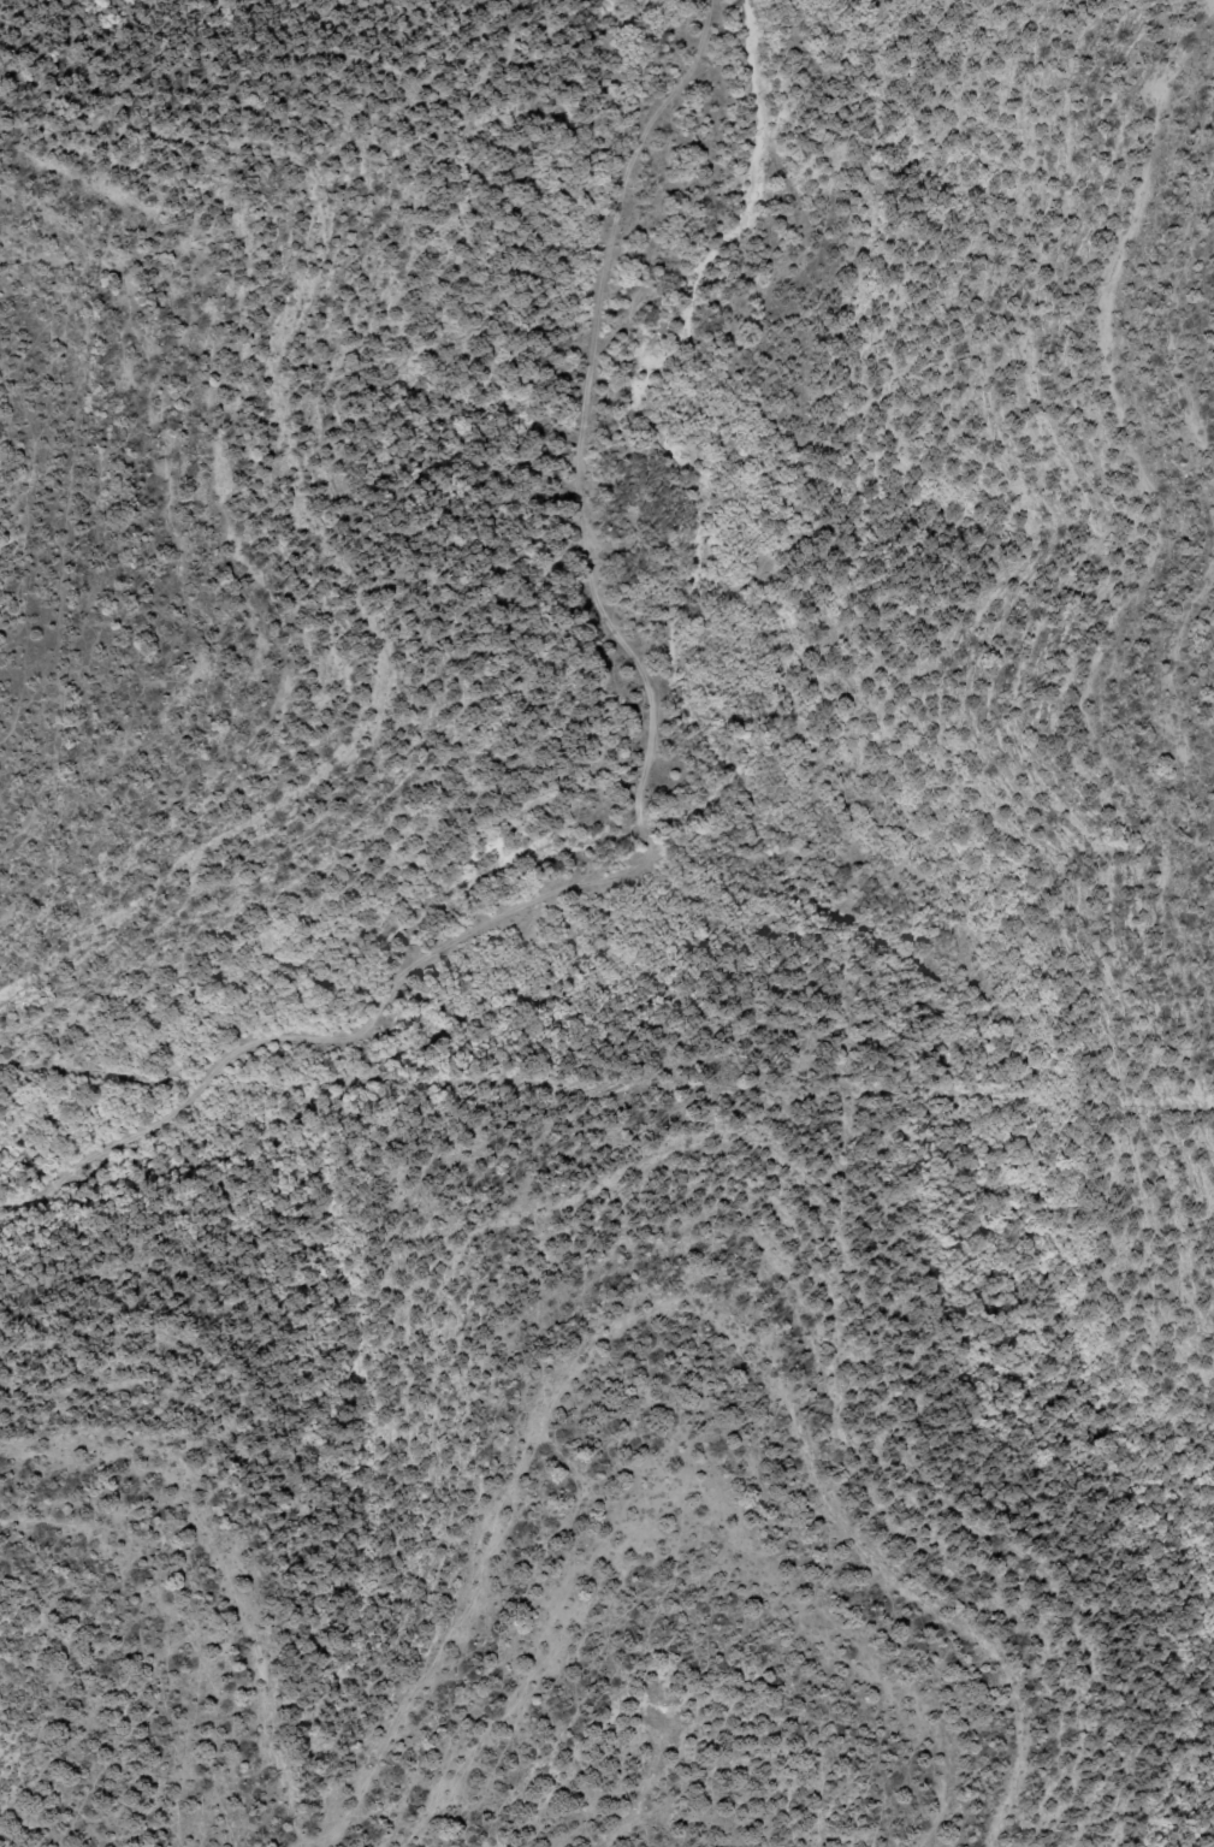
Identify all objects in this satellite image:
road: (578, 407)
road: (291, 954)

